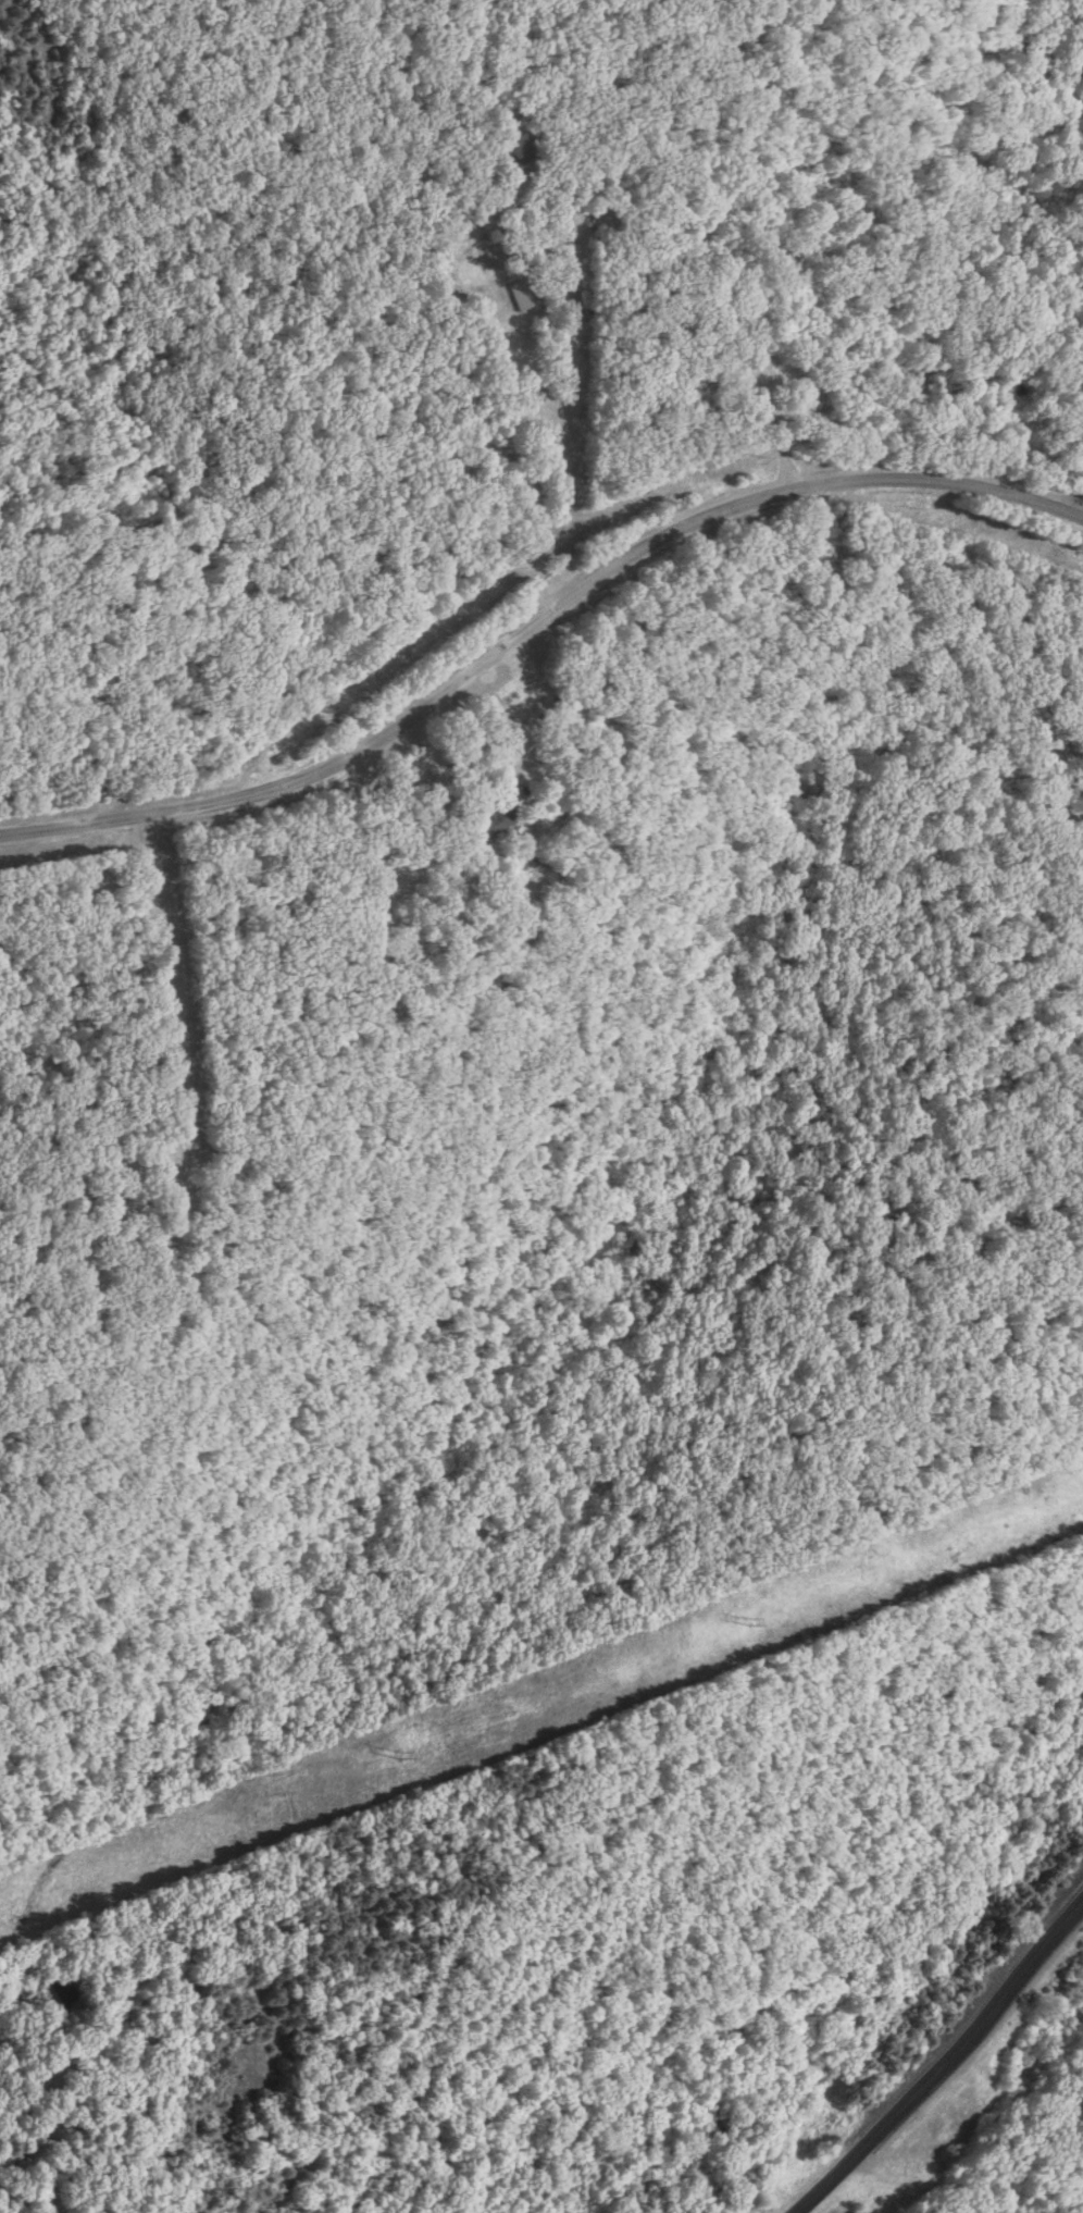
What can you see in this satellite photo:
building: (487, 226)
building: (518, 297)
road: (556, 404)
road: (537, 633)
building: (567, 718)
road: (547, 744)
road: (184, 1013)
power tower: (759, 1617)
power tower: (395, 1760)
road: (945, 2044)

